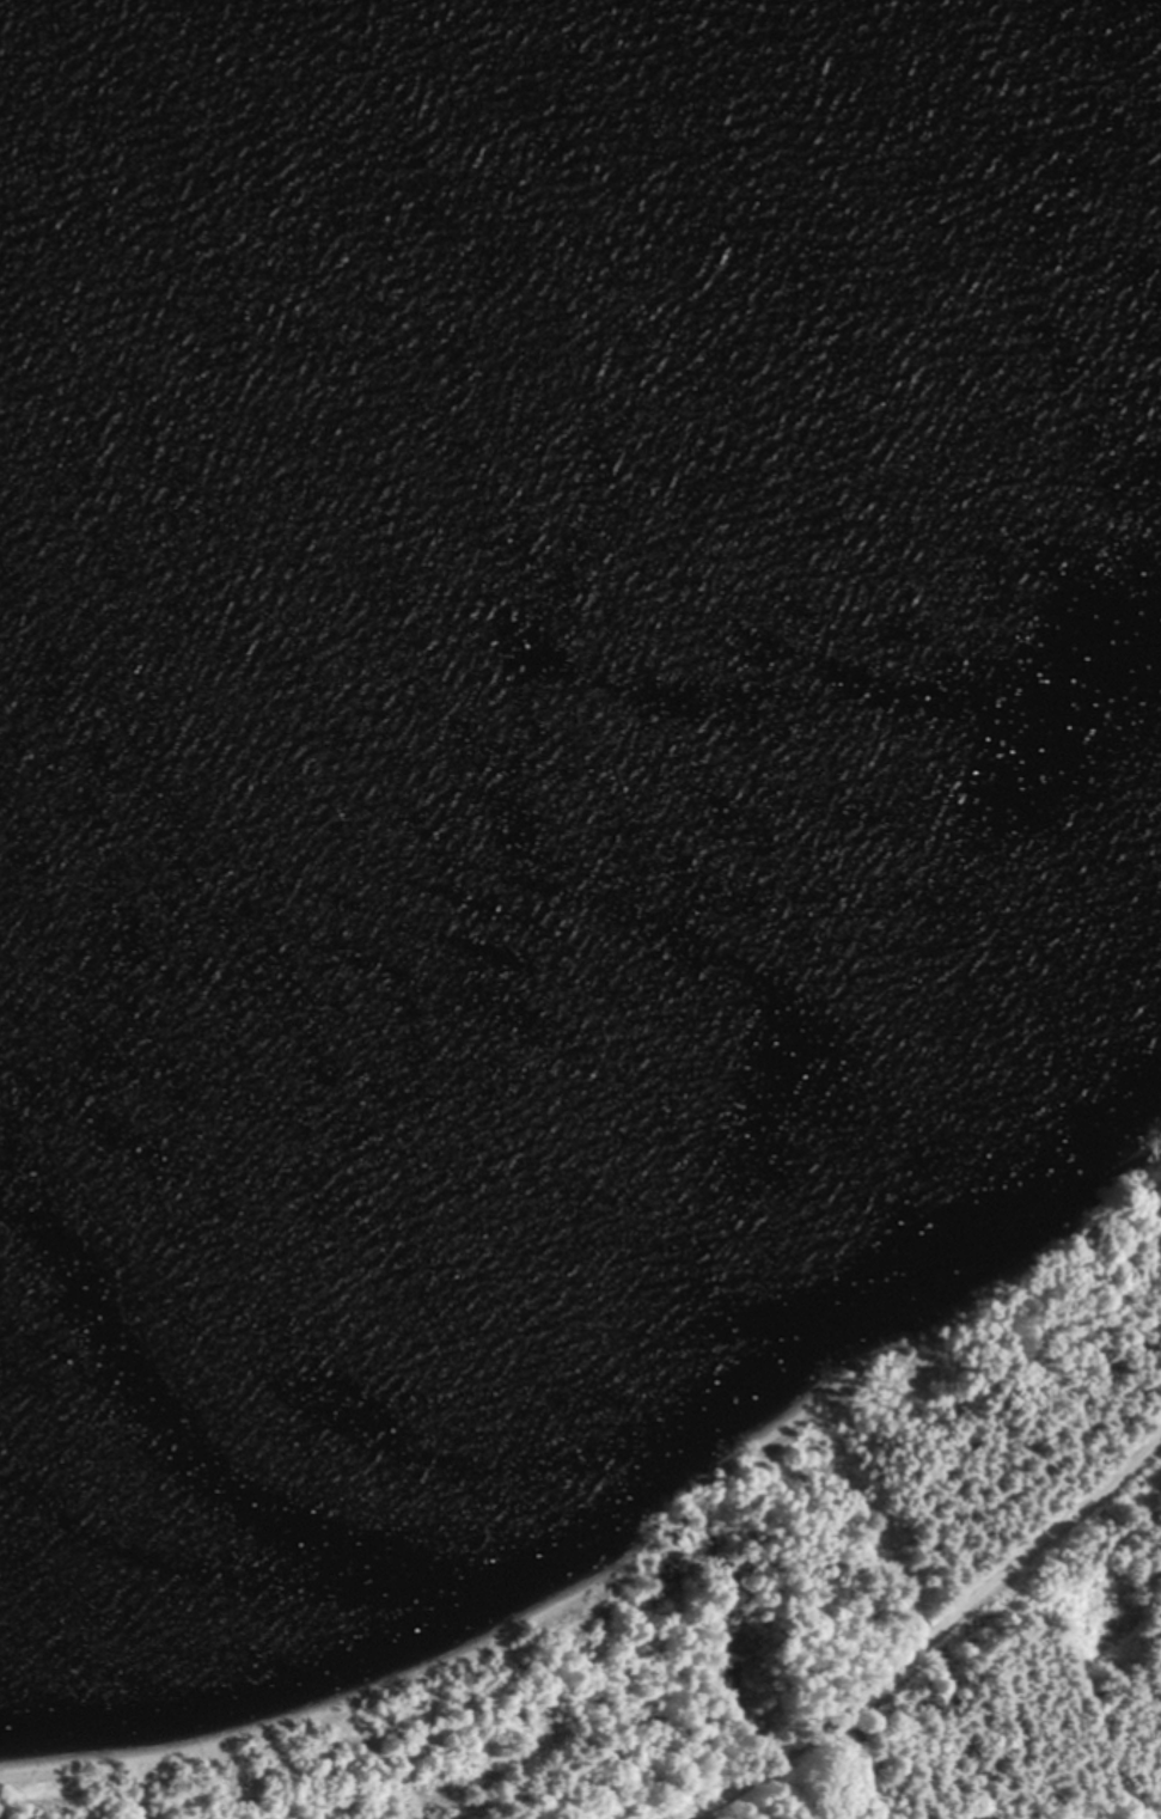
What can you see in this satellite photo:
road: (1087, 1614)
road: (934, 1635)

